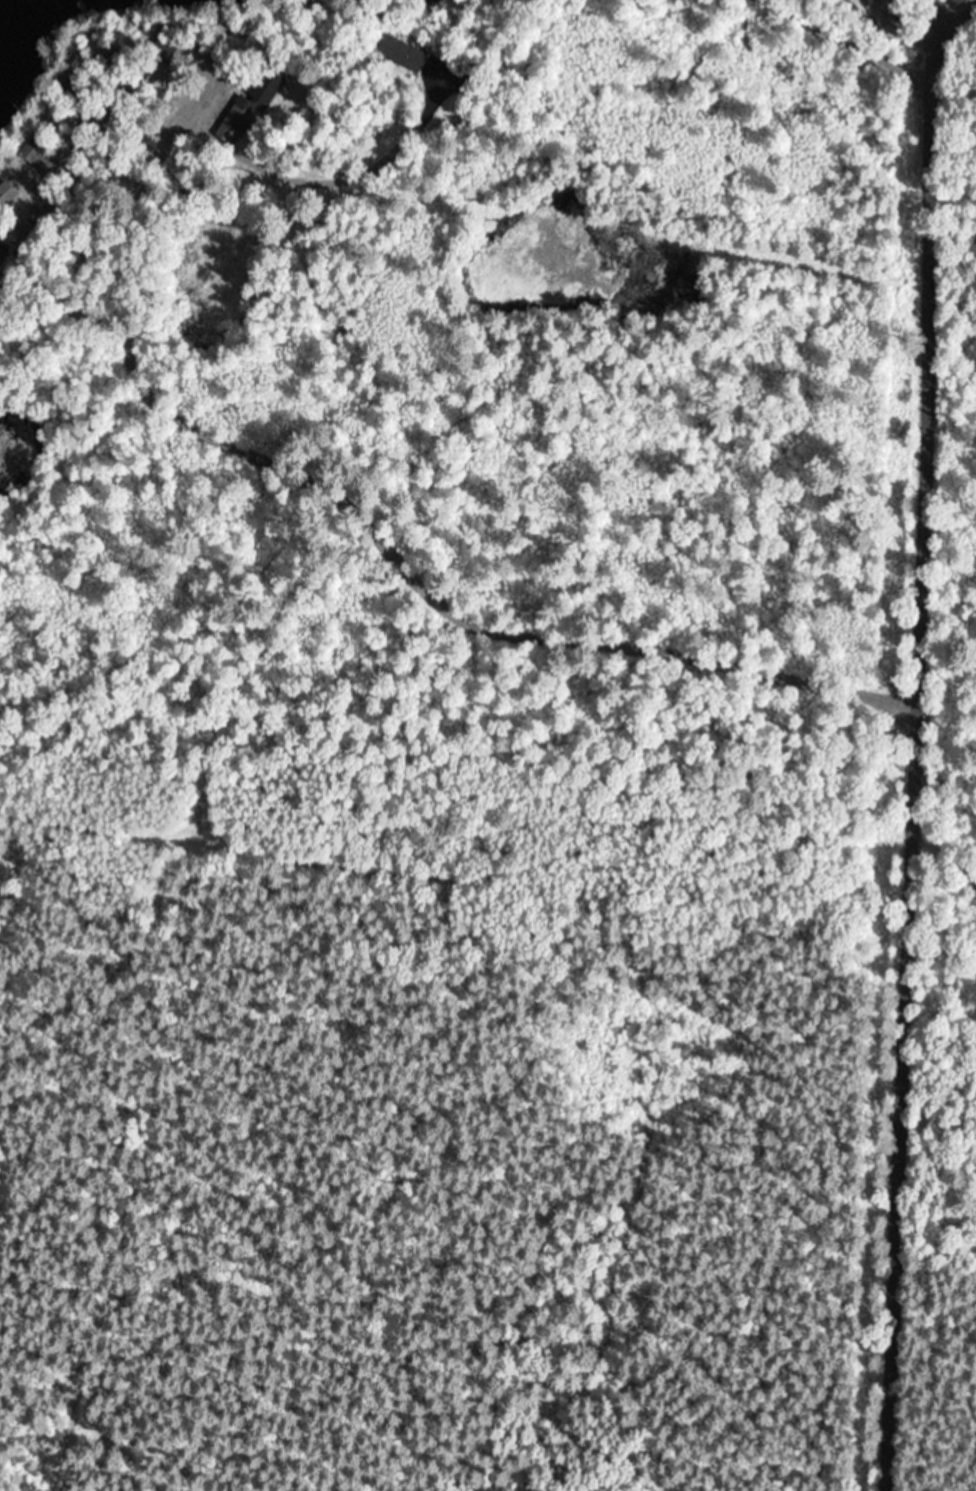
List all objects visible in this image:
building: (399, 53)
building: (250, 103)
road: (849, 114)
road: (251, 447)
road: (909, 739)

